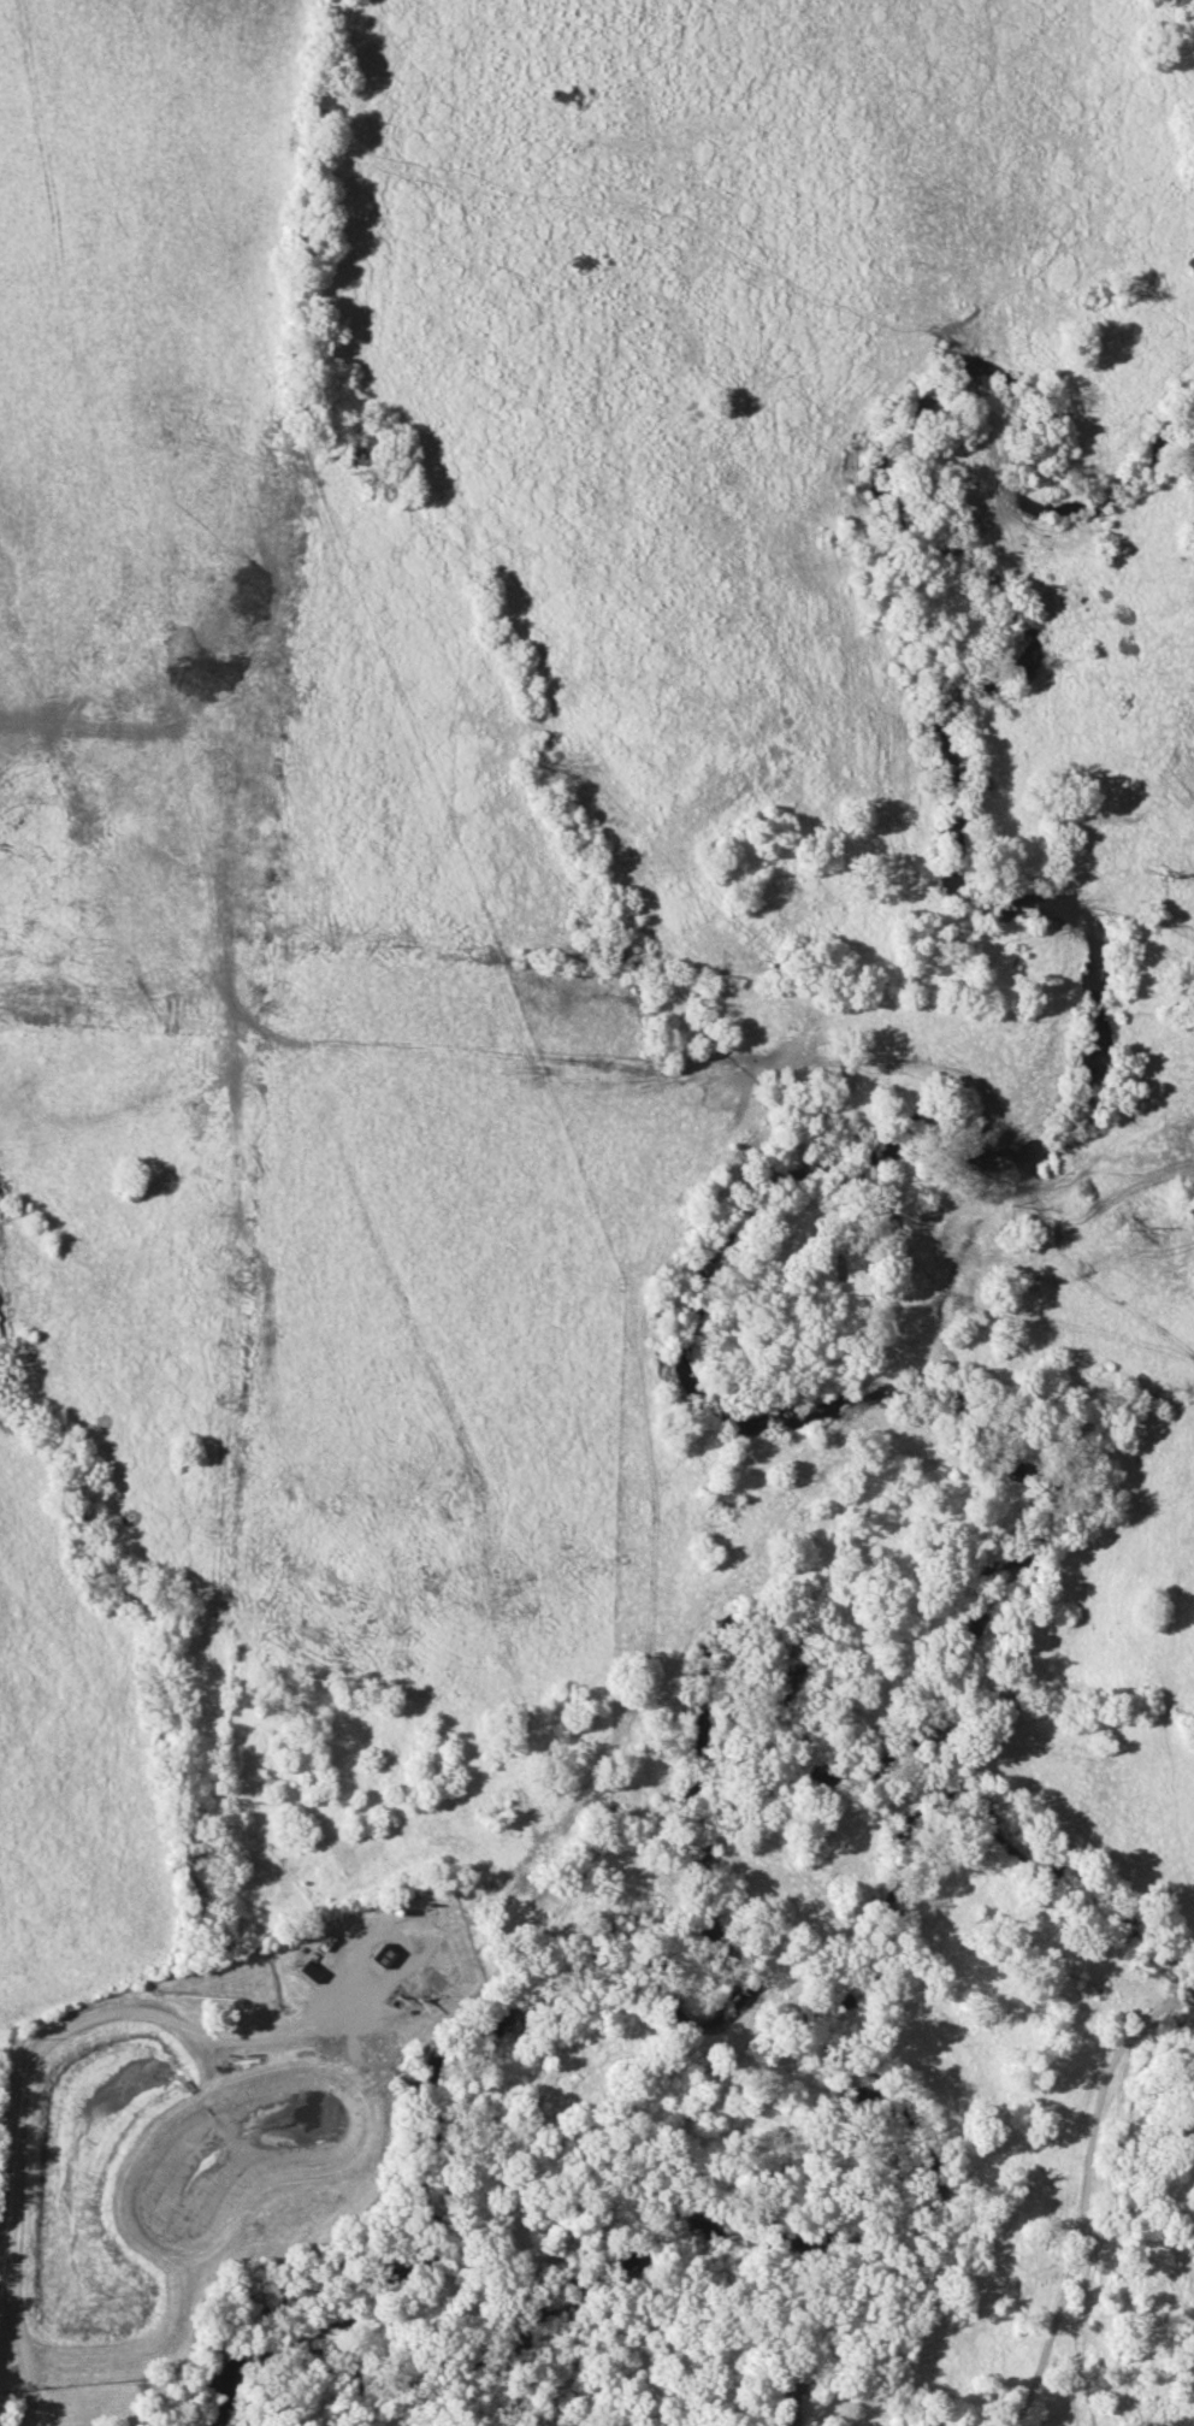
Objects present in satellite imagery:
road: (266, 695)
road: (52, 2036)
road: (1083, 2190)
building: (788, 2400)
road: (838, 2420)

